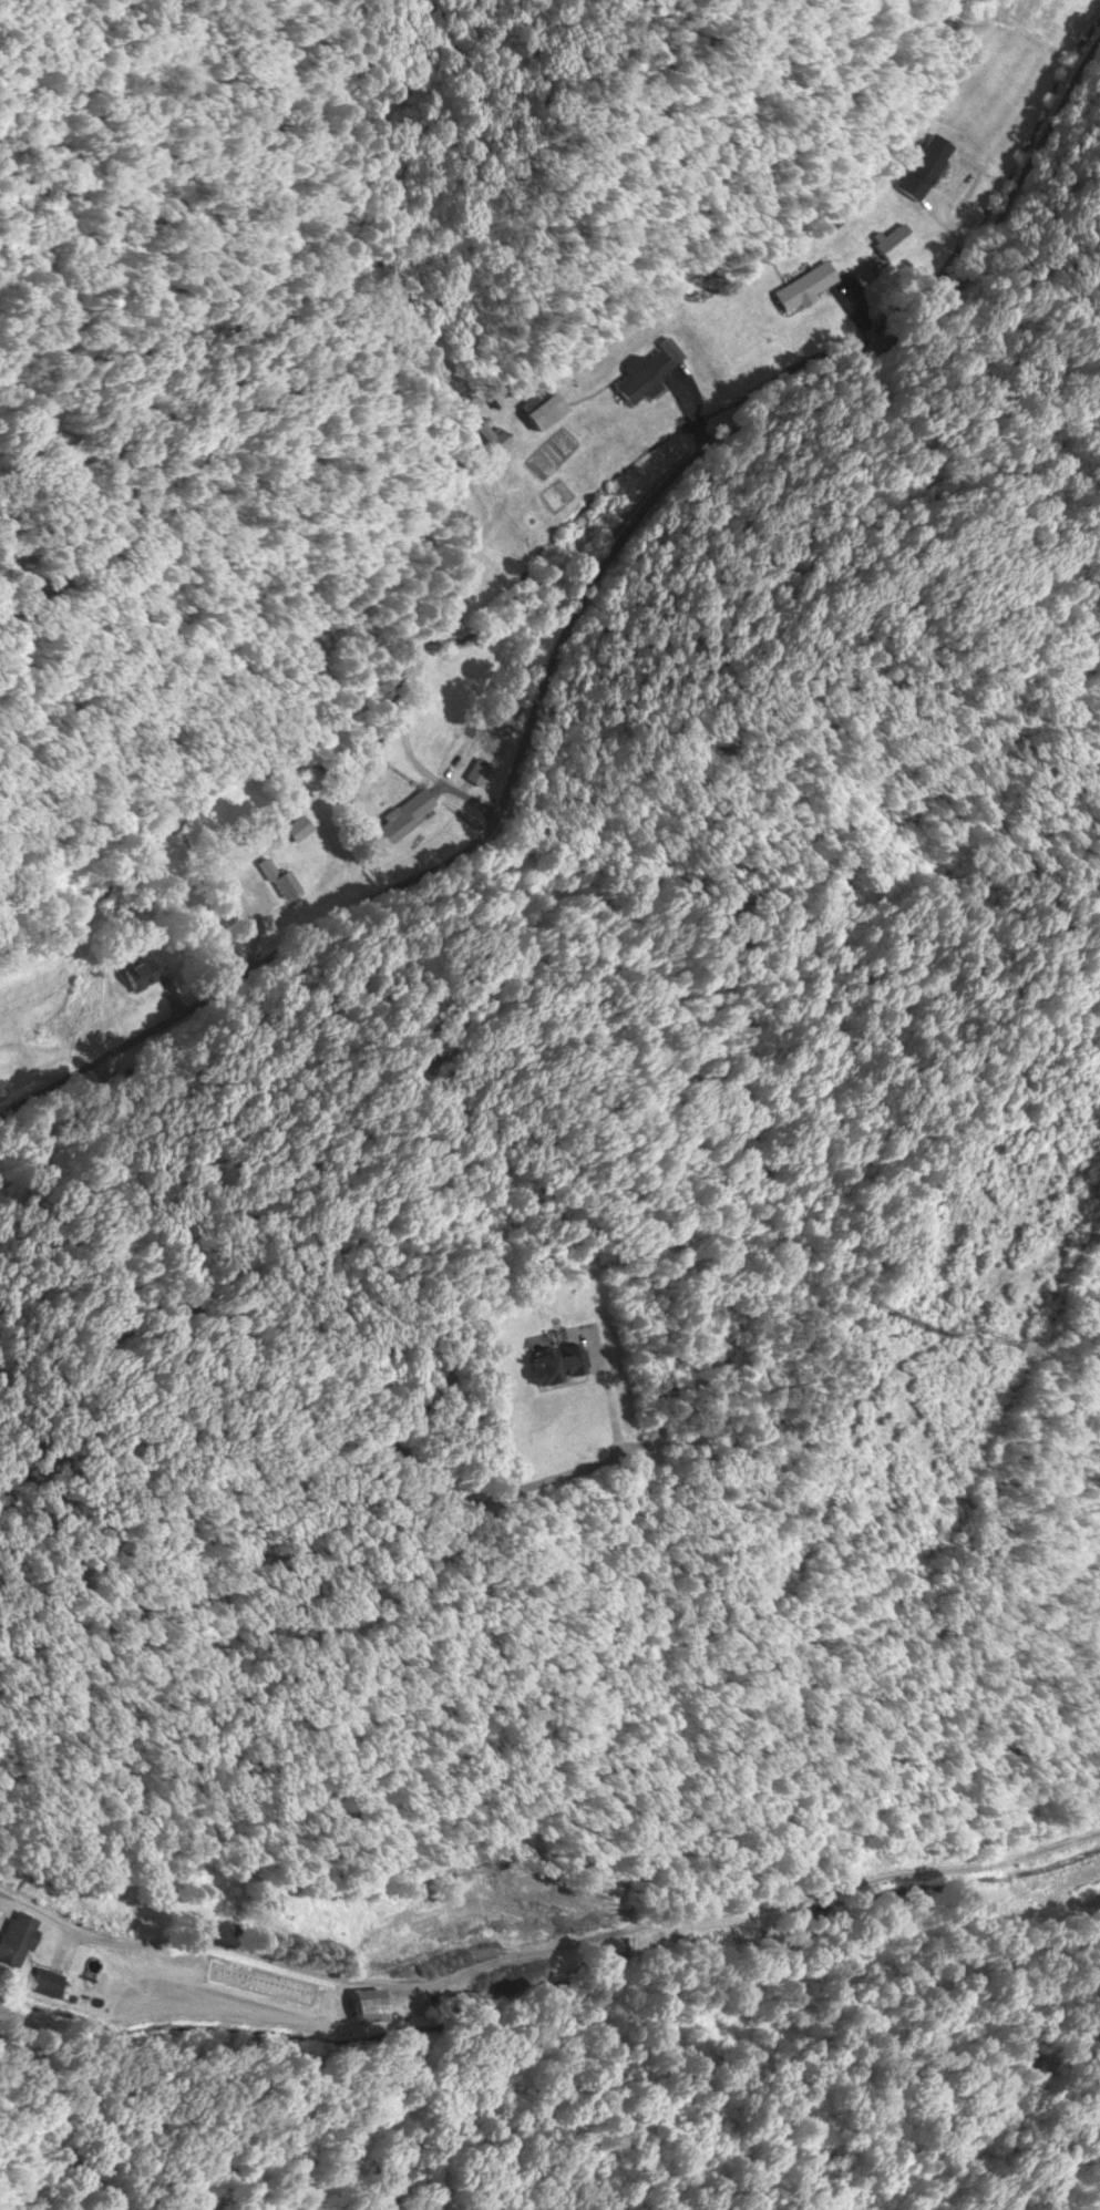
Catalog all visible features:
building: (924, 166)
building: (891, 244)
building: (803, 286)
building: (641, 376)
building: (543, 411)
building: (492, 436)
road: (570, 609)
building: (460, 748)
building: (476, 772)
building: (399, 821)
building: (297, 829)
building: (280, 881)
building: (138, 974)
power tower: (944, 1340)
building: (556, 1361)
building: (14, 1937)
road: (142, 1942)
building: (44, 1982)
building: (366, 2003)

